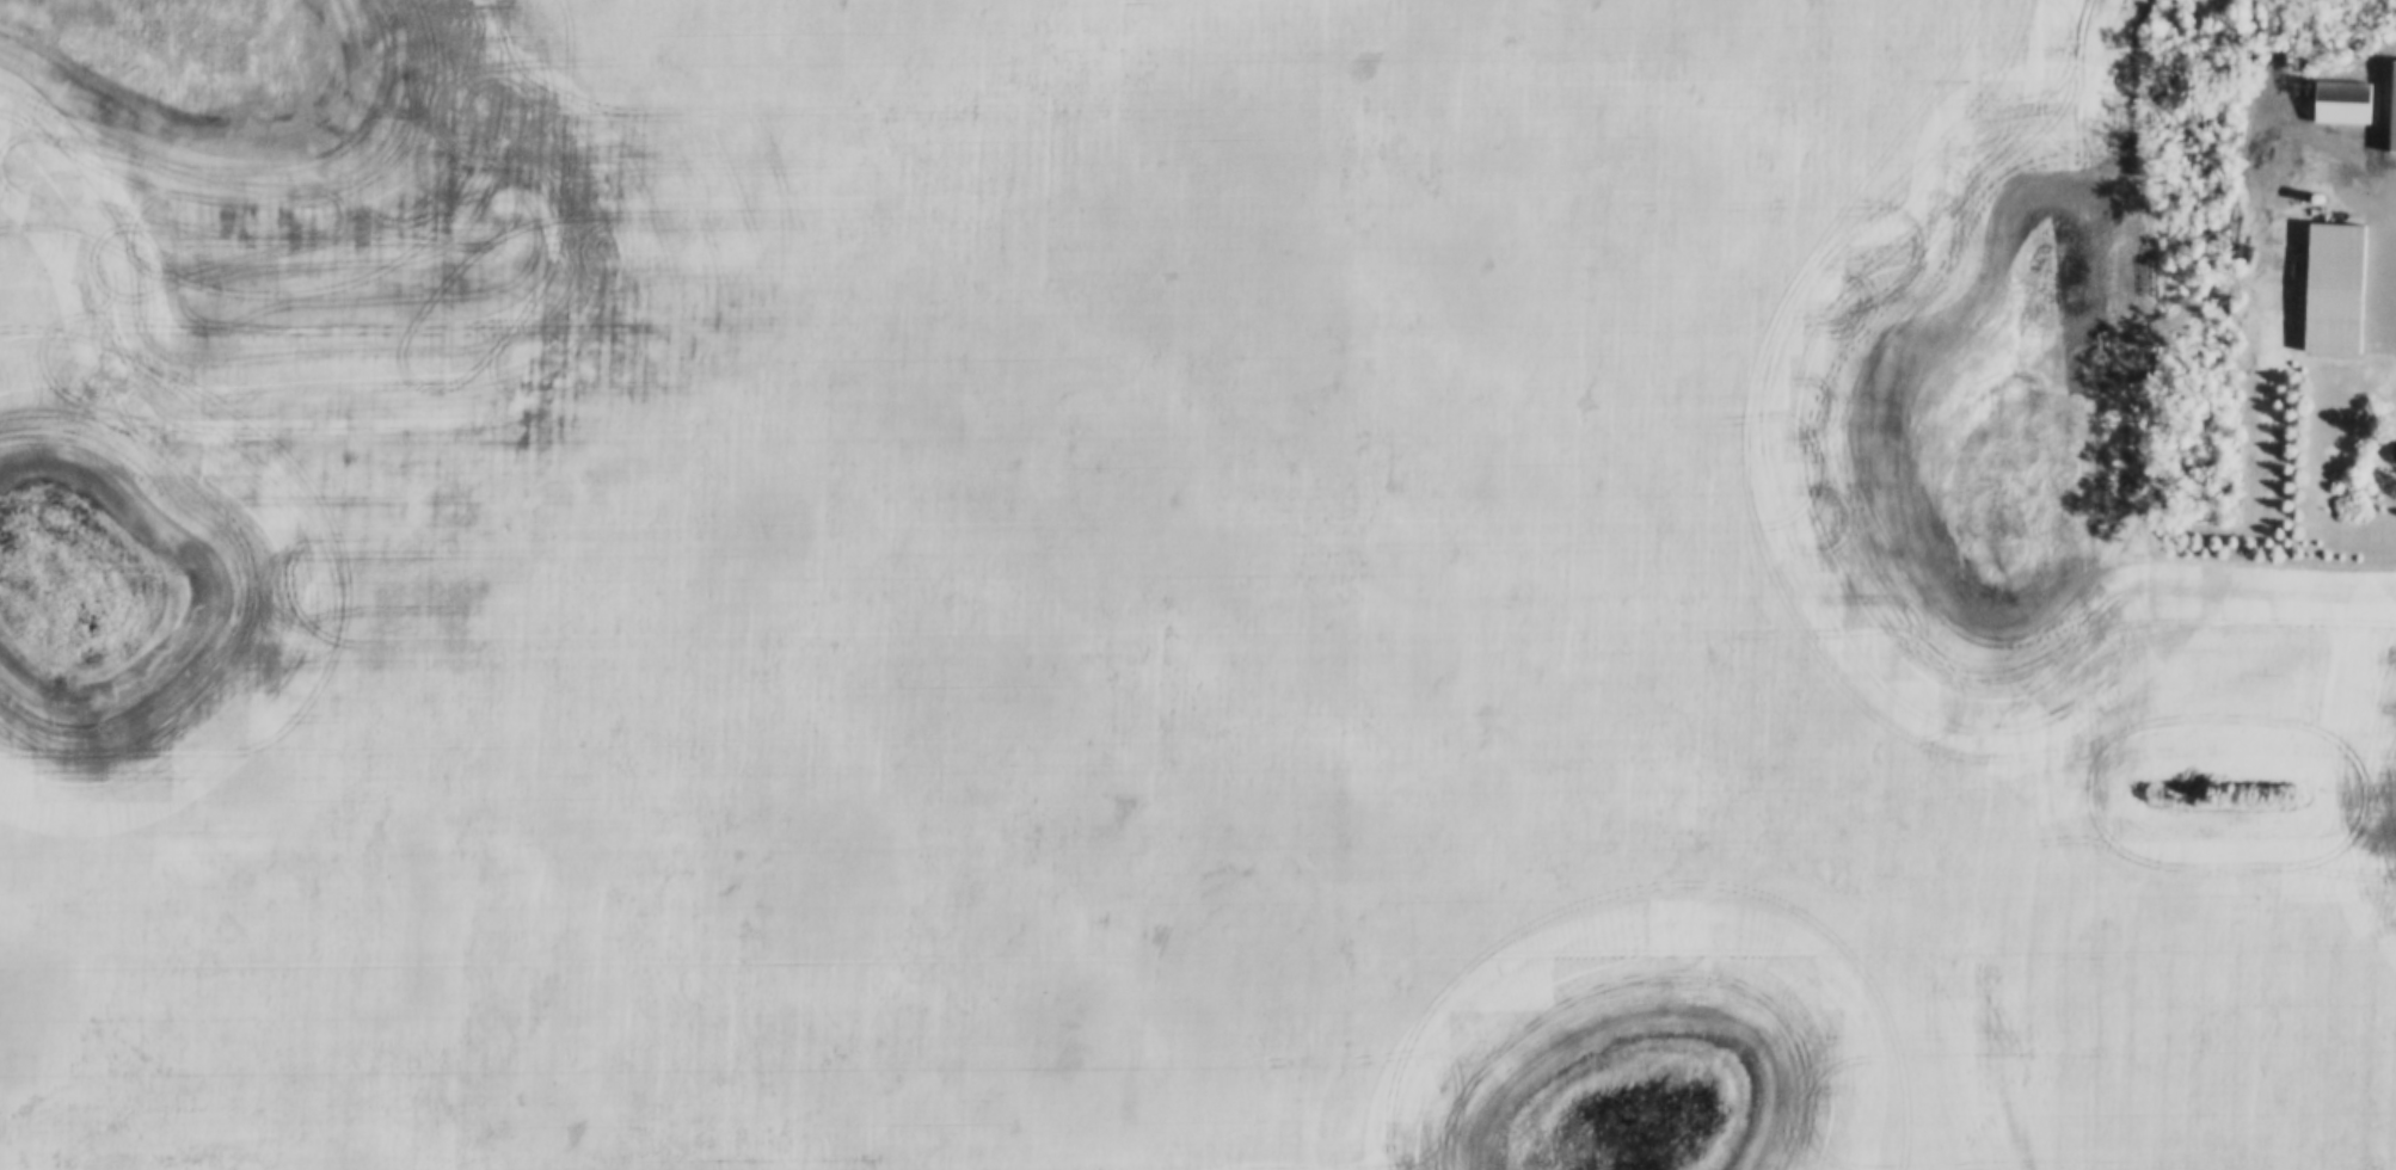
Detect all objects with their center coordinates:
building: (2388, 143)
building: (2339, 301)

